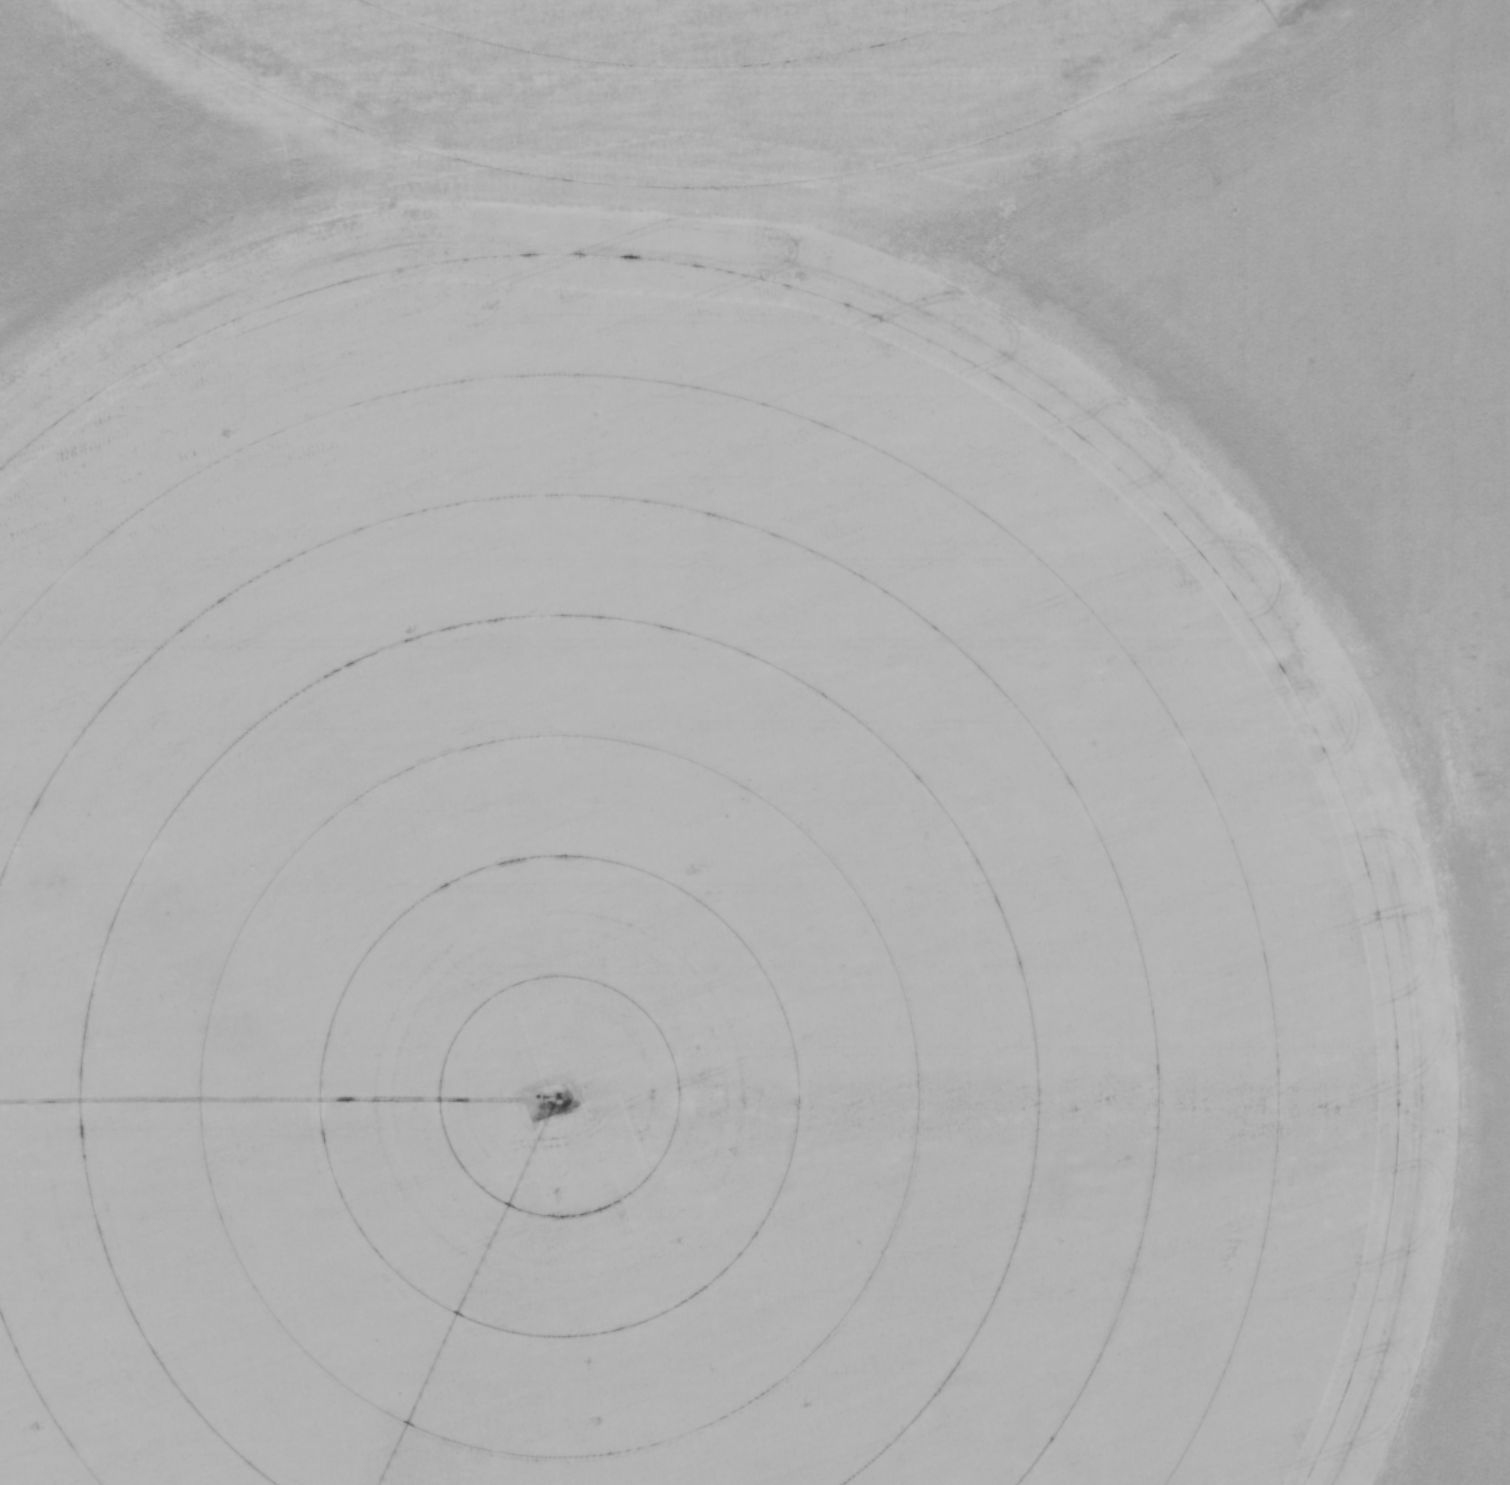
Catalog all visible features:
crop: (748, 742)
building: (1484, 751)

